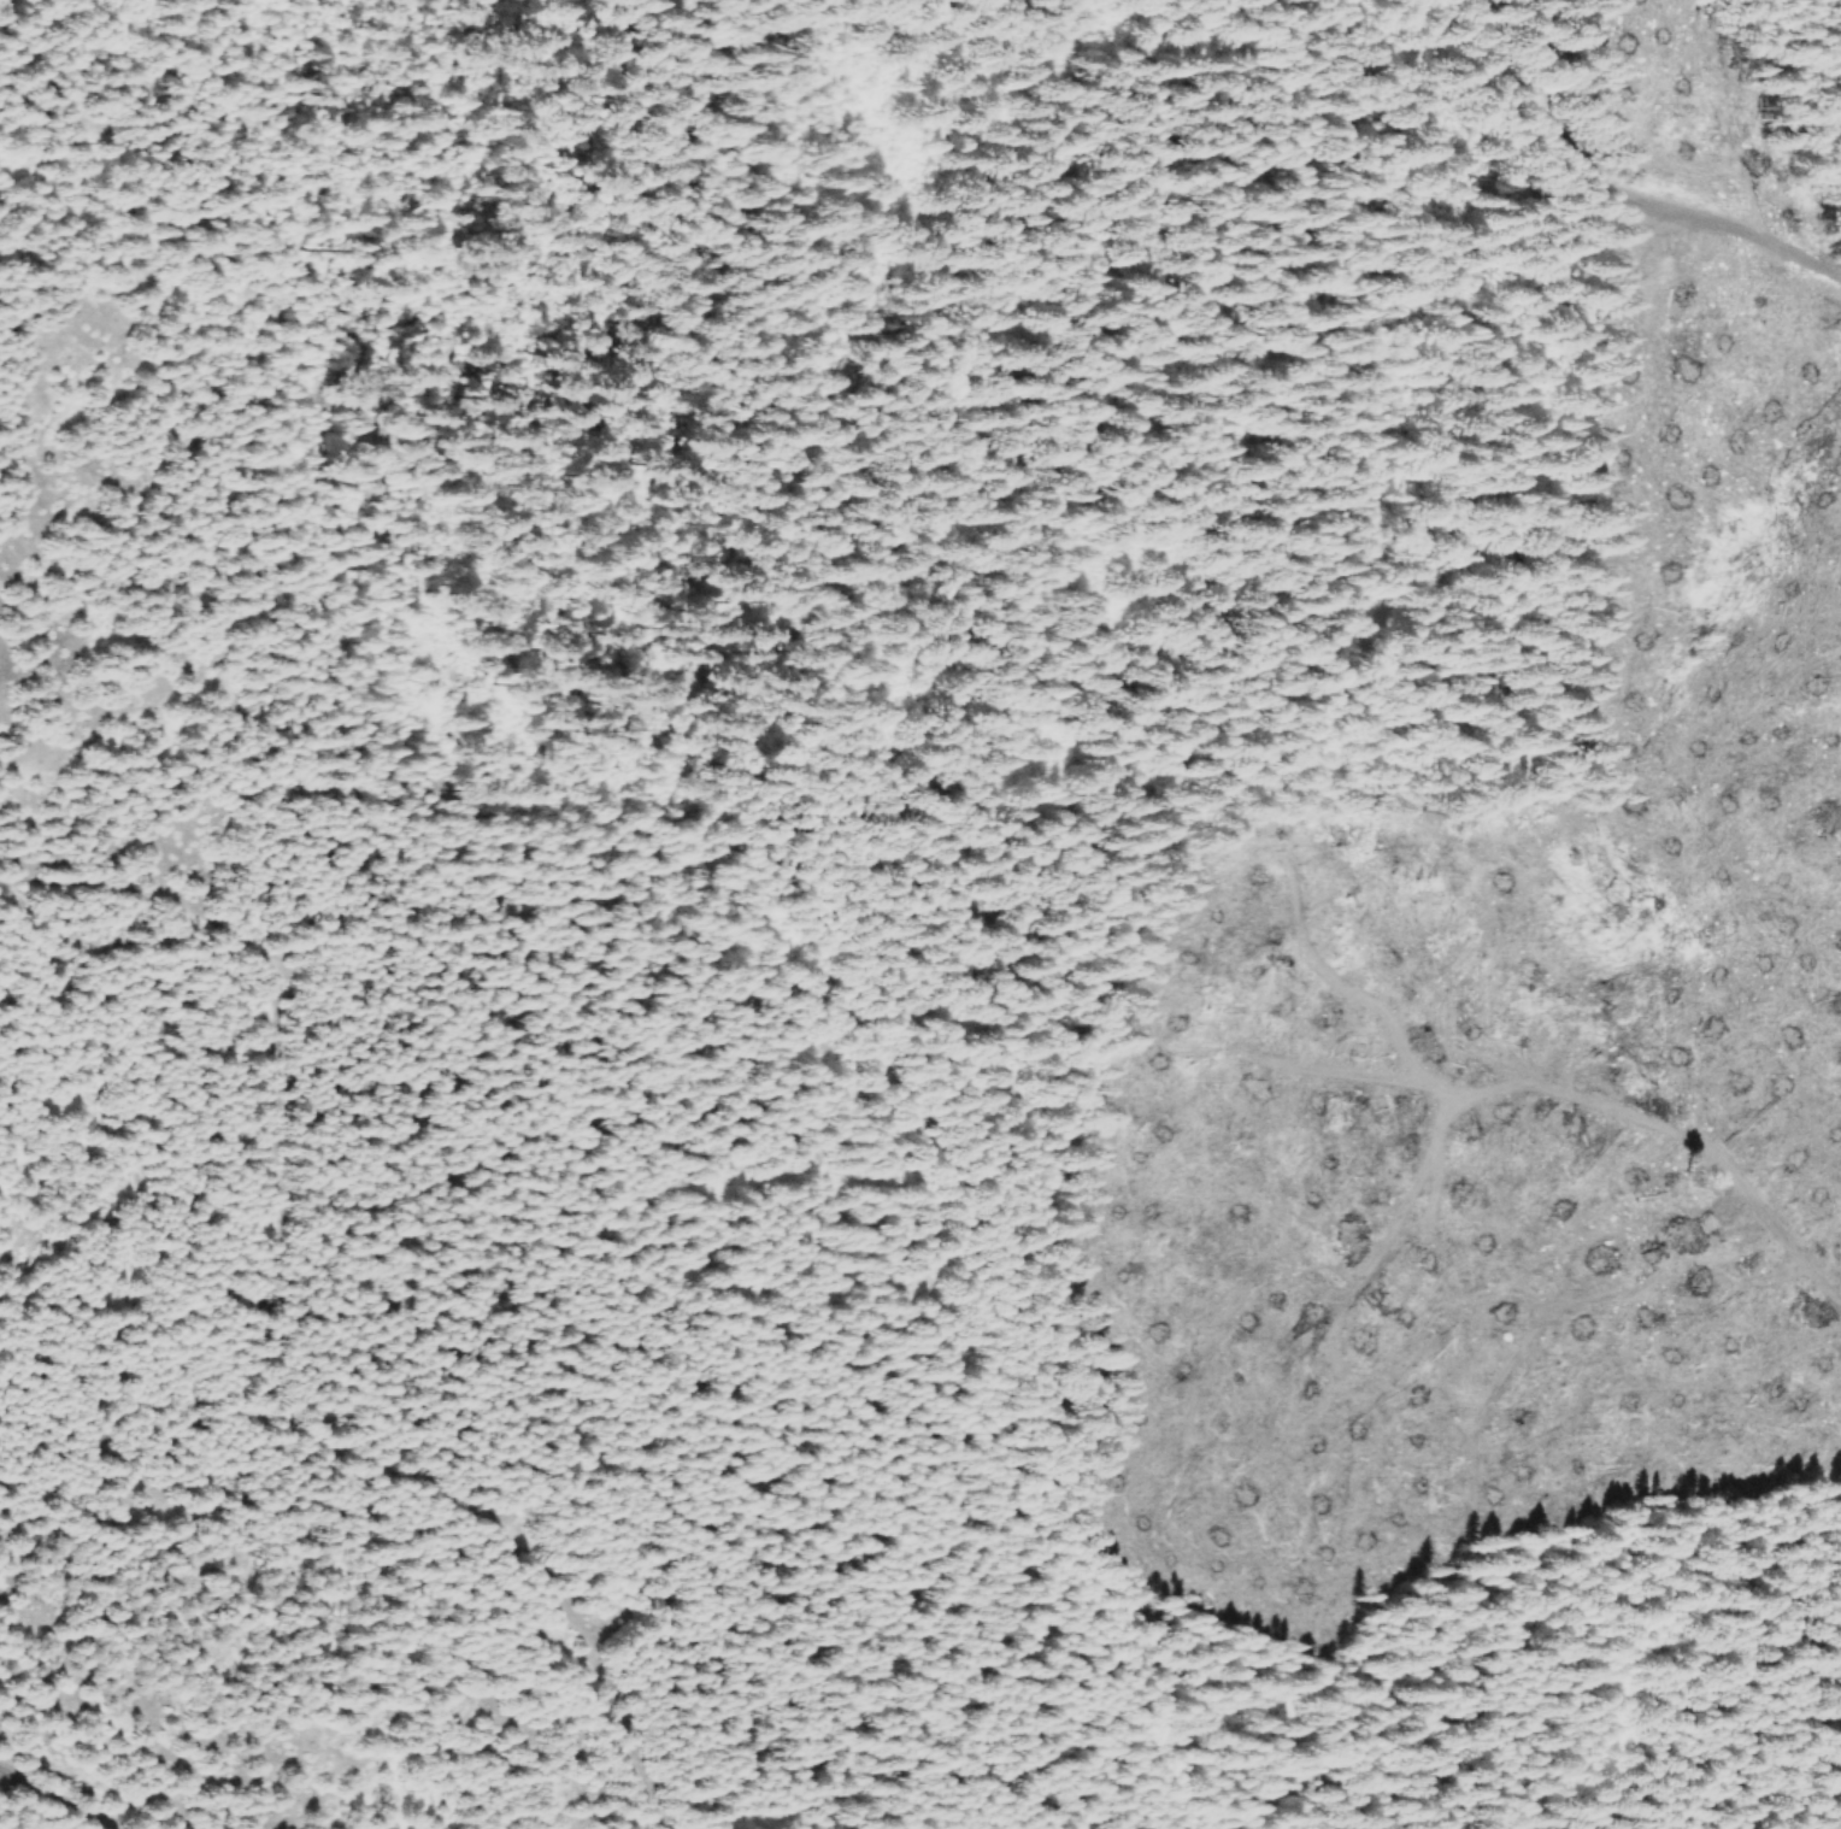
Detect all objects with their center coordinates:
road: (1621, 178)
road: (348, 1460)
road: (48, 1801)

